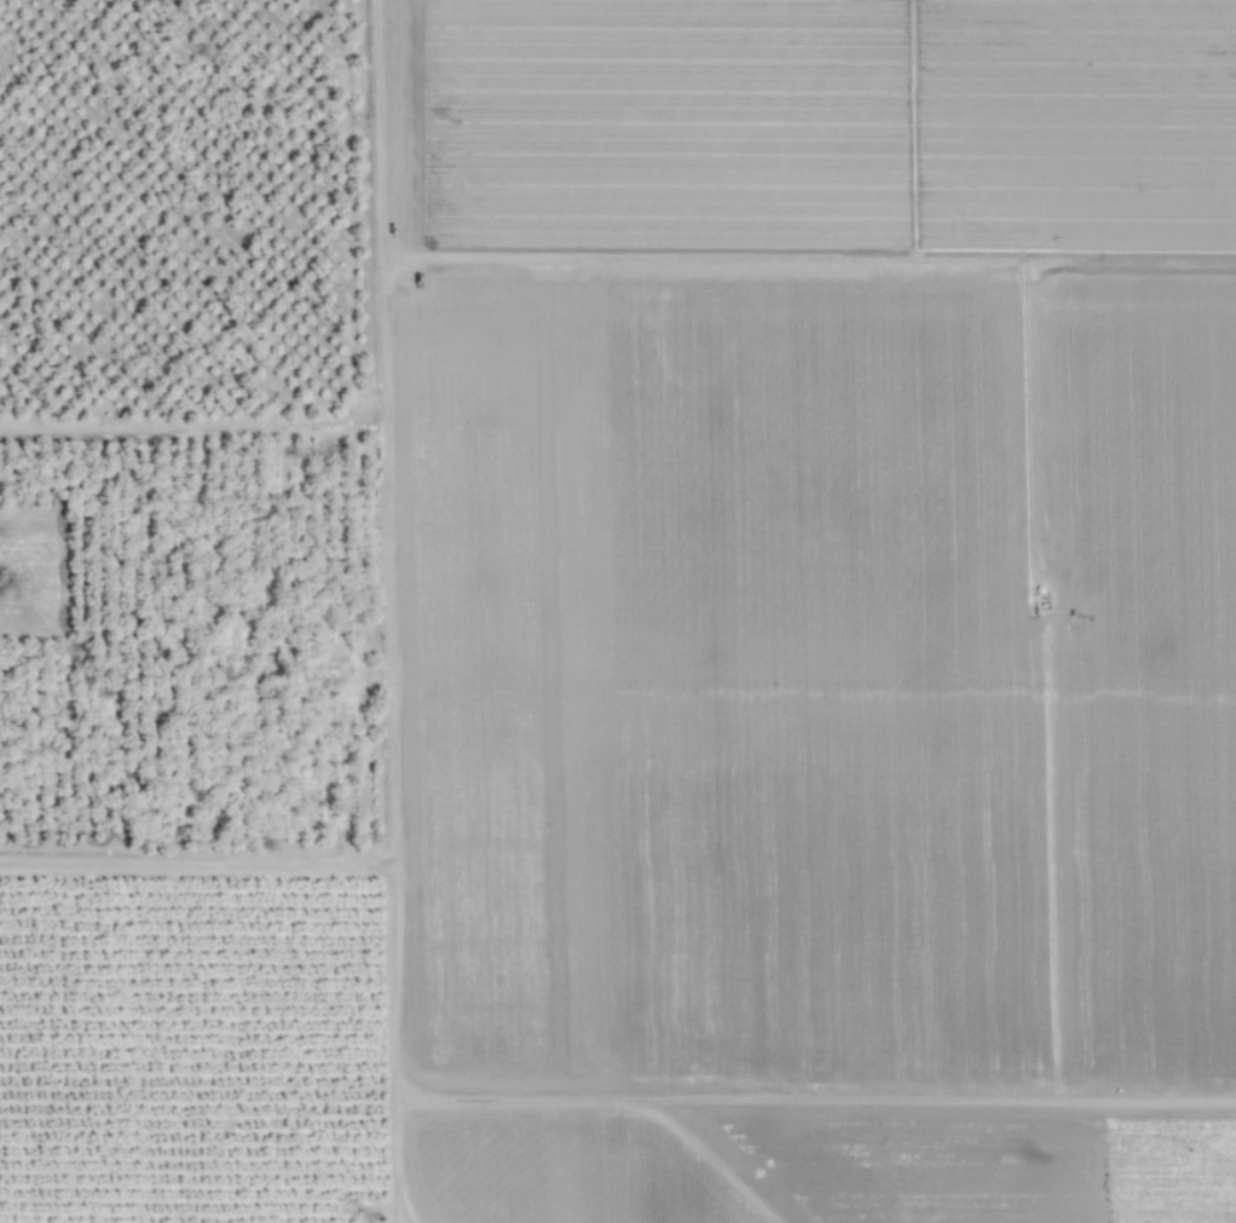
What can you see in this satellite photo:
road: (393, 611)
road: (198, 861)
road: (439, 1080)
road: (810, 1098)

